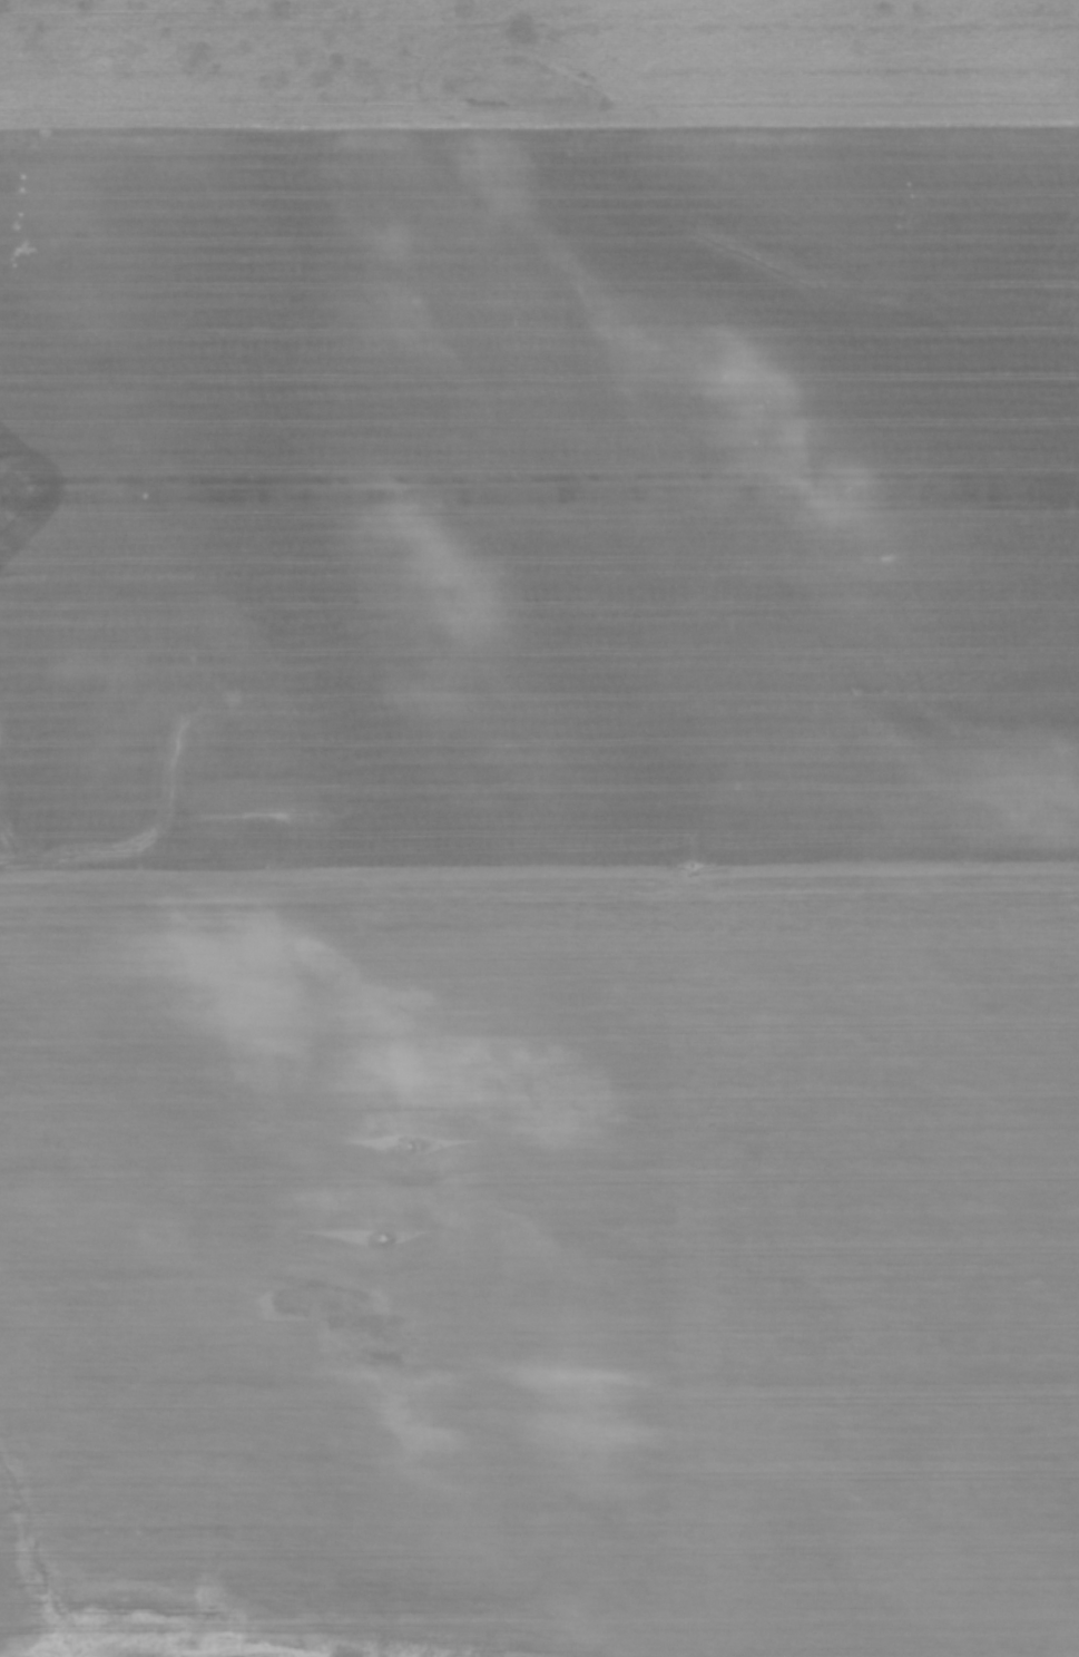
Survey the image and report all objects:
crop: (539, 828)

